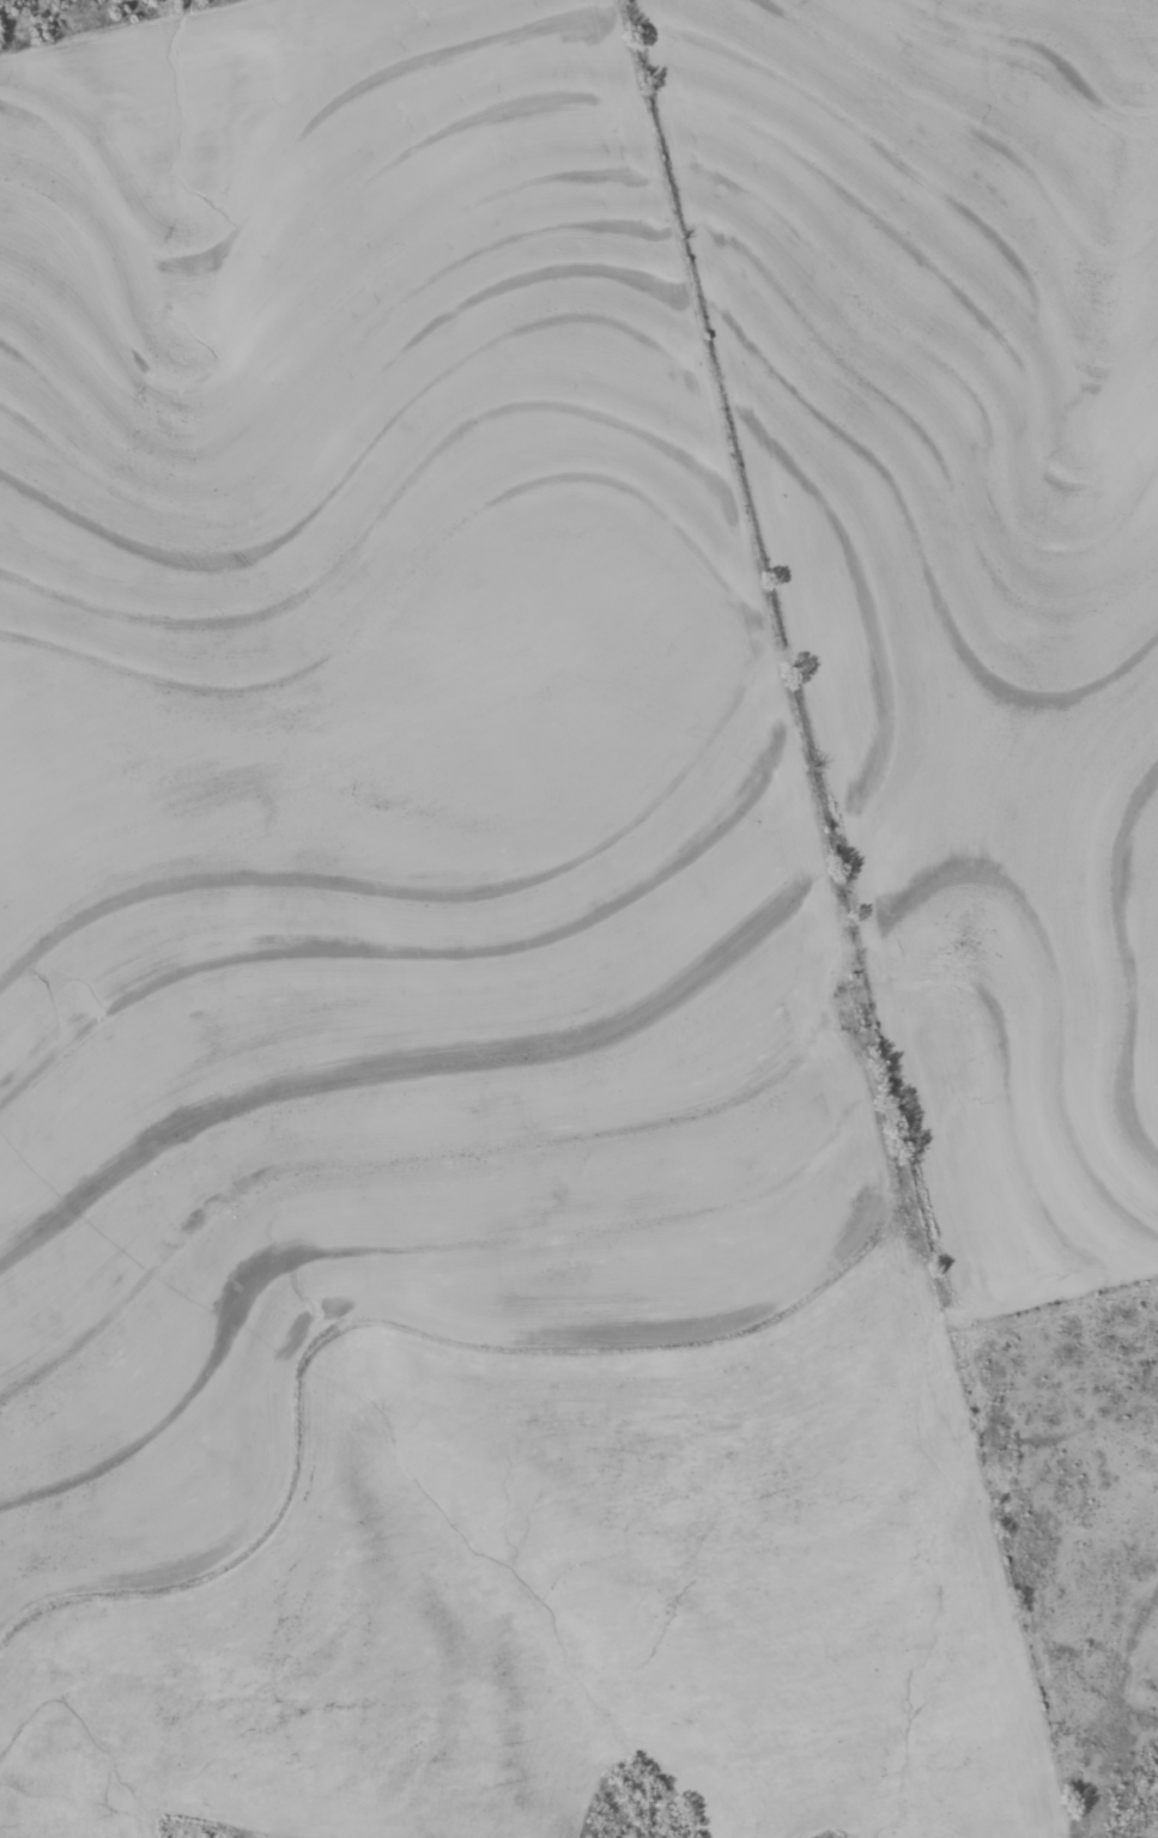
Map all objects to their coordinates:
road: (127, 31)
road: (886, 1512)

